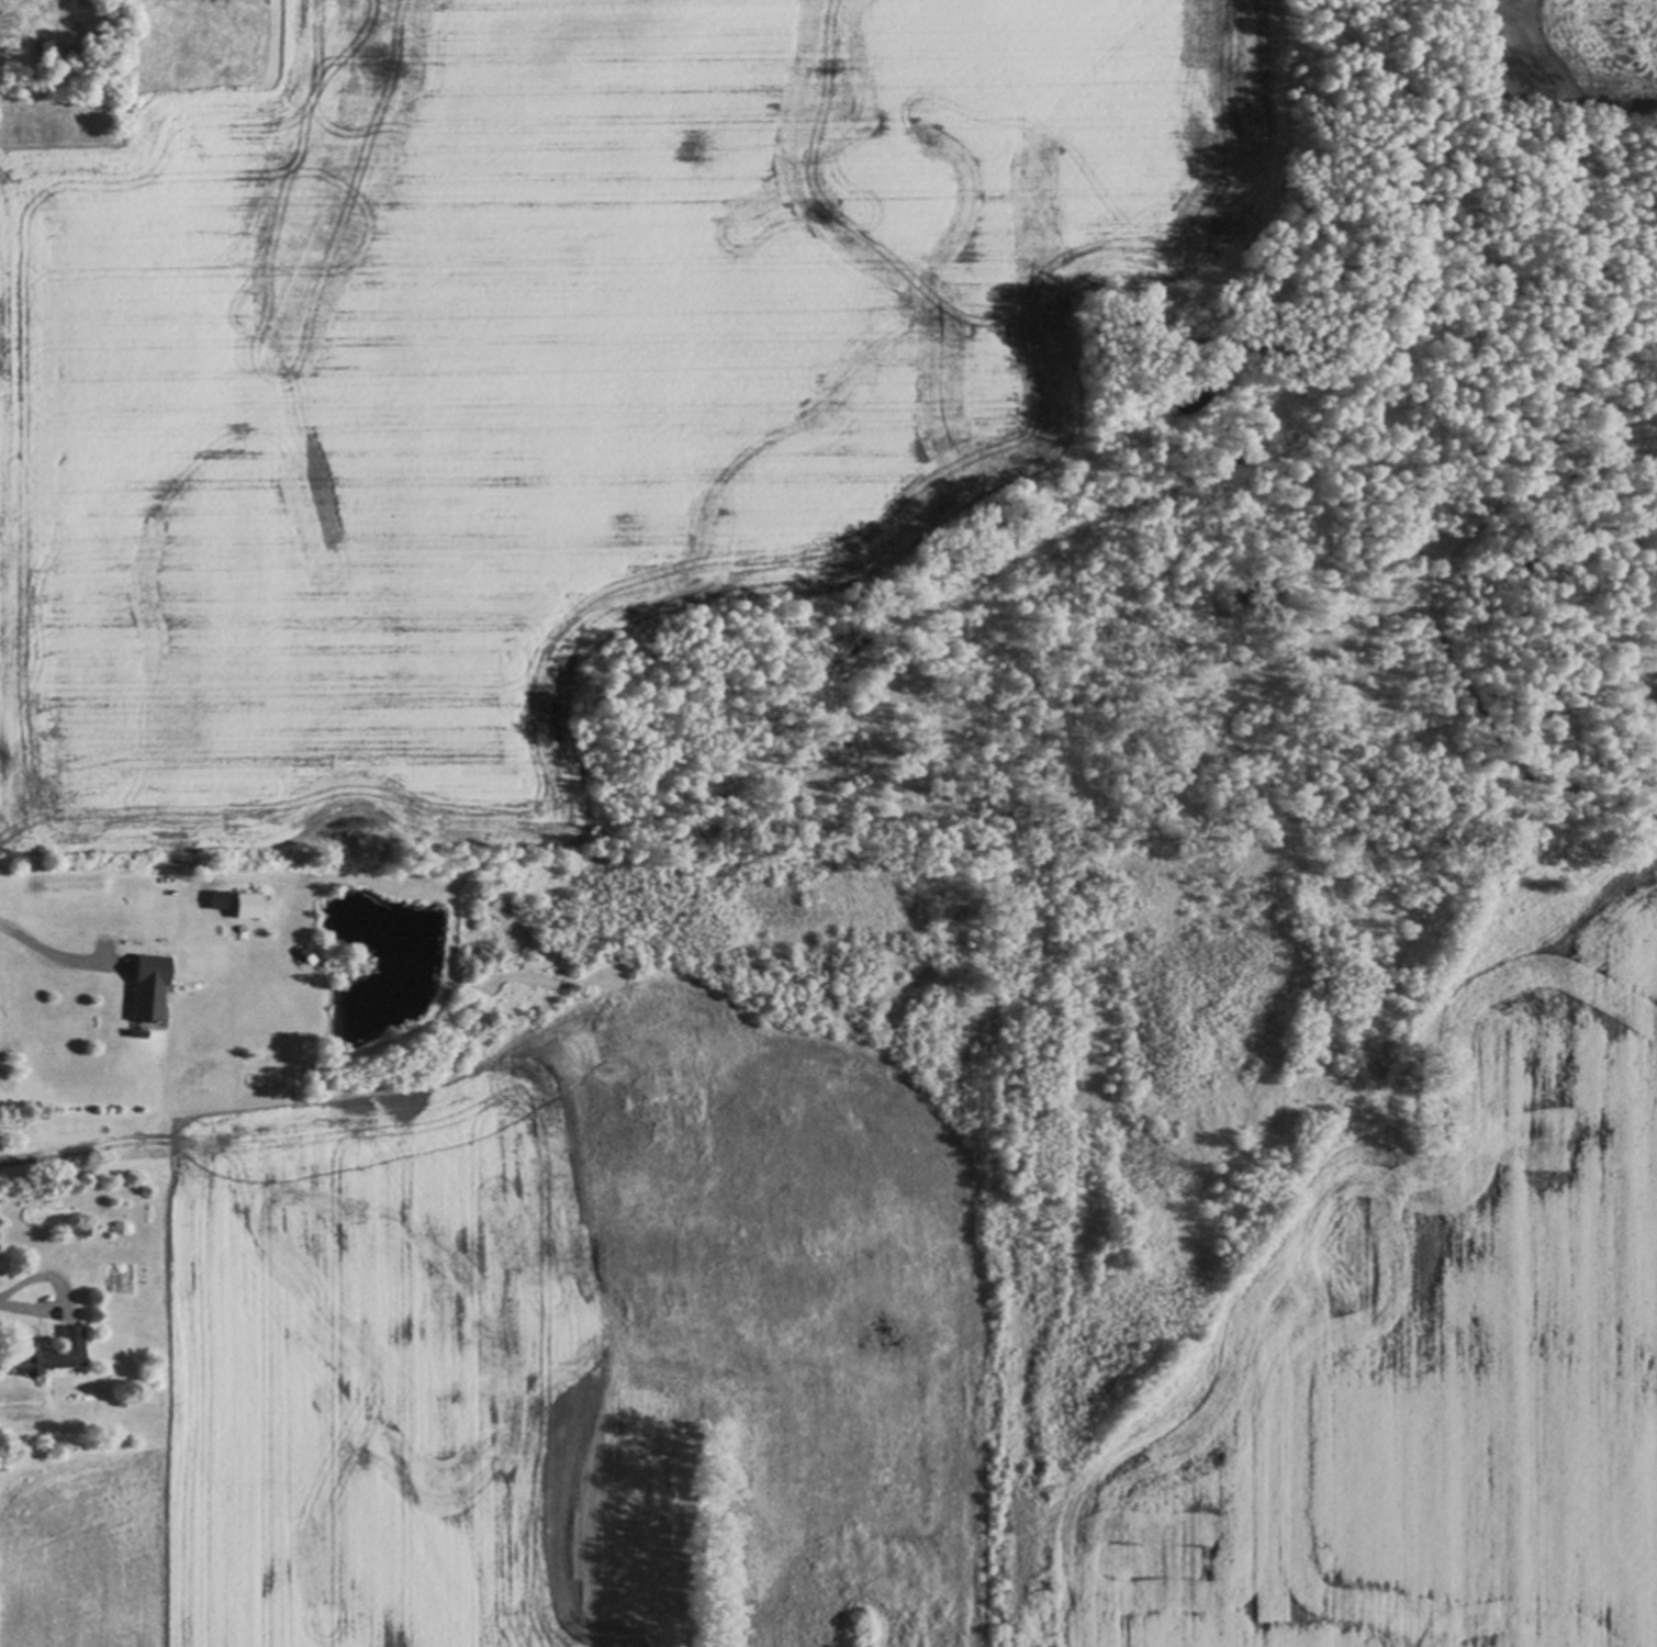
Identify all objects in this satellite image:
building: (215, 899)
building: (248, 903)
building: (147, 983)
building: (80, 1230)
building: (53, 1352)

